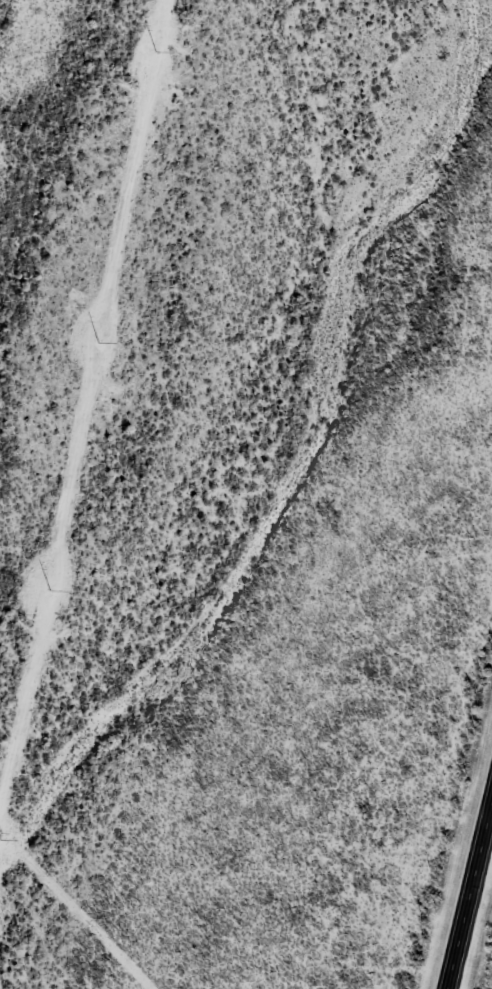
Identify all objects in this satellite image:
road: (468, 891)

